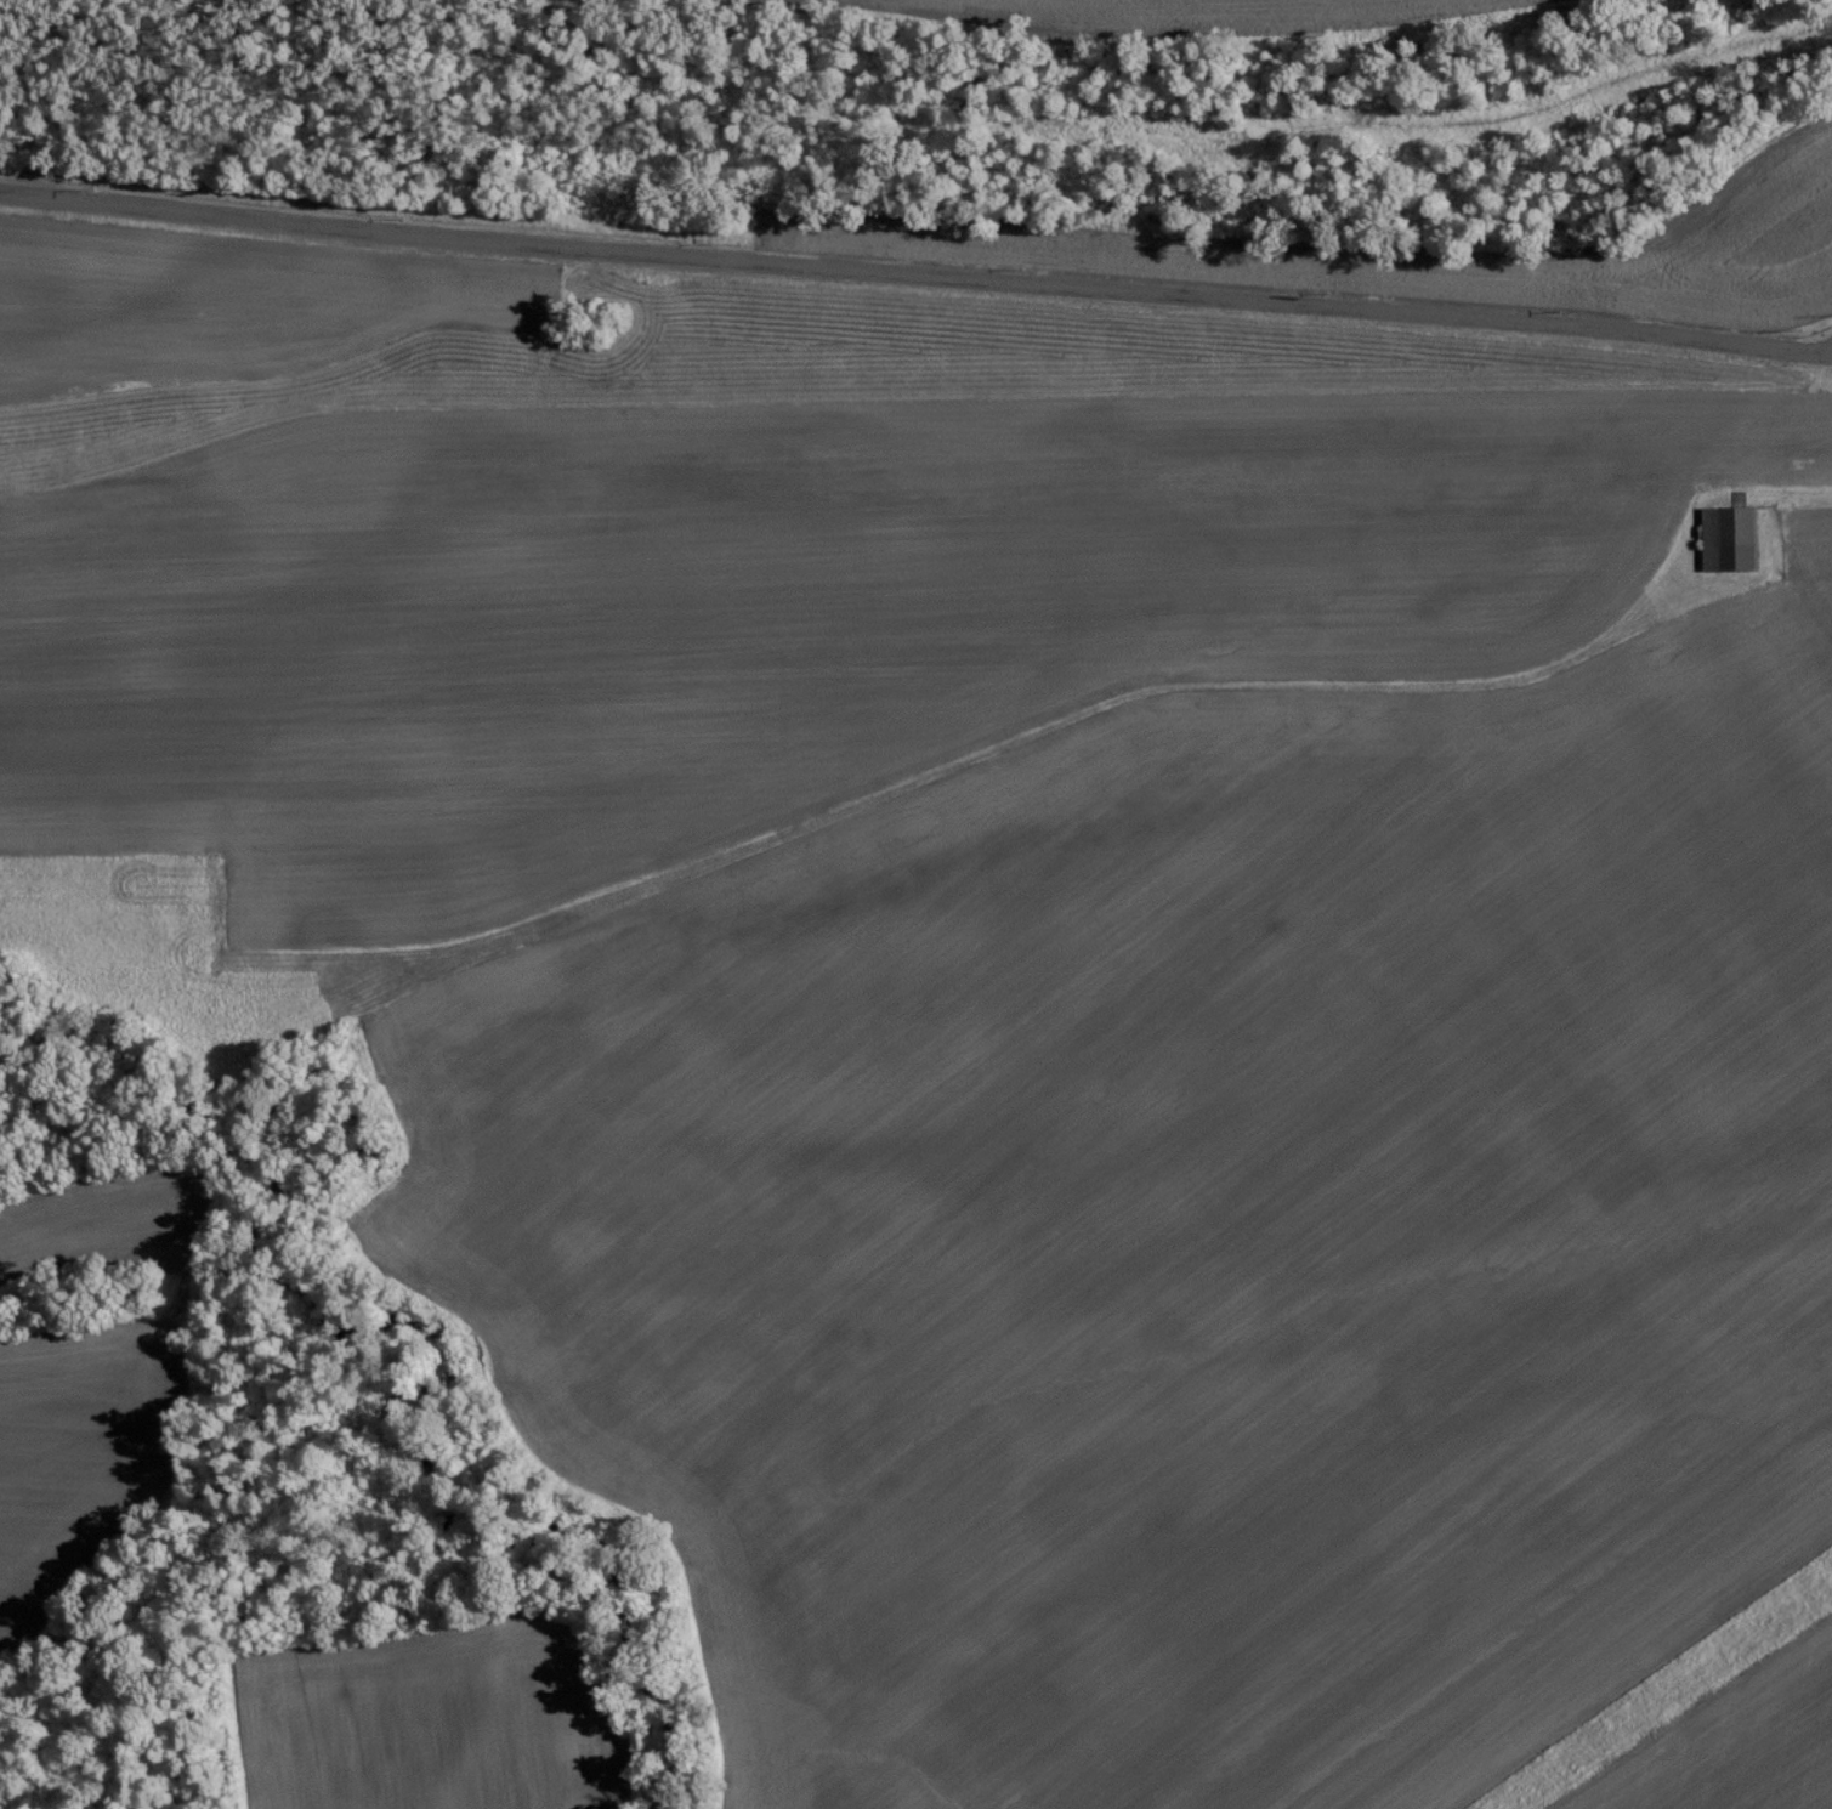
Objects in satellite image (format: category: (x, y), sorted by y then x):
road: (915, 271)

